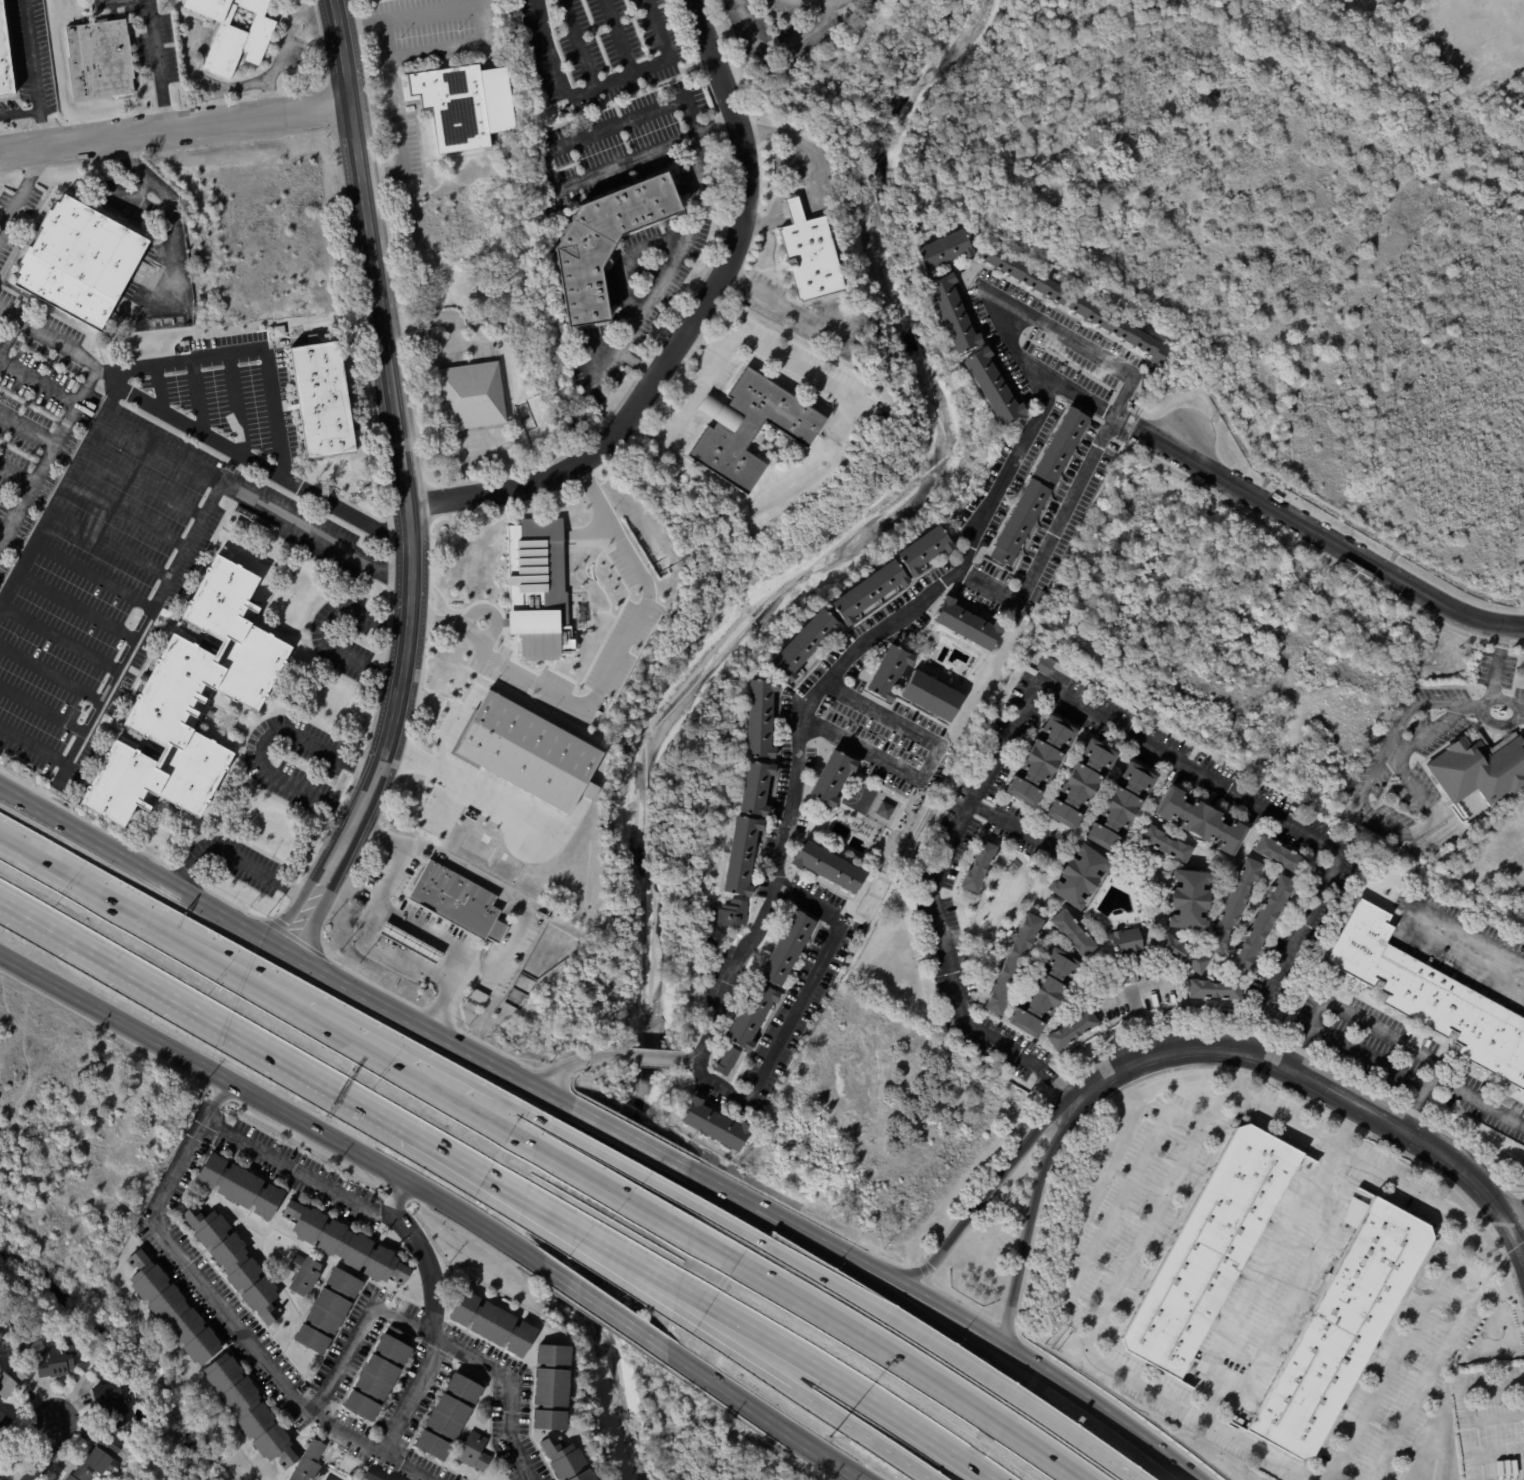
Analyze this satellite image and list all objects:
road: (820, 0)
building: (235, 34)
road: (619, 37)
road: (582, 44)
road: (442, 45)
road: (780, 51)
building: (5, 58)
road: (158, 59)
building: (100, 60)
road: (279, 62)
road: (34, 73)
road: (218, 85)
road: (601, 87)
building: (464, 104)
road: (175, 127)
road: (806, 147)
road: (543, 157)
road: (21, 185)
road: (795, 208)
road: (170, 210)
road: (766, 220)
building: (603, 243)
road: (678, 248)
building: (941, 250)
building: (809, 255)
building: (81, 261)
building: (1024, 274)
road: (780, 307)
building: (951, 313)
road: (445, 319)
road: (689, 327)
building: (1120, 329)
building: (297, 330)
building: (278, 331)
road: (9, 334)
road: (61, 341)
building: (185, 346)
road: (445, 346)
road: (761, 347)
road: (190, 356)
road: (37, 380)
road: (158, 386)
building: (991, 387)
building: (1142, 394)
road: (197, 395)
building: (471, 395)
road: (1081, 397)
building: (323, 398)
building: (1137, 402)
road: (238, 403)
road: (676, 419)
road: (1118, 419)
building: (749, 427)
road: (25, 429)
road: (199, 430)
building: (1060, 445)
road: (160, 447)
road: (501, 448)
road: (46, 450)
road: (15, 473)
road: (142, 480)
road: (406, 484)
road: (125, 512)
road: (980, 514)
building: (1018, 522)
road: (587, 526)
road: (1319, 537)
road: (107, 545)
building: (924, 550)
road: (176, 559)
road: (92, 575)
road: (990, 581)
building: (537, 587)
building: (869, 592)
road: (75, 605)
building: (1027, 617)
building: (966, 625)
road: (327, 629)
road: (58, 638)
building: (804, 644)
building: (1280, 654)
building: (1046, 665)
building: (888, 672)
road: (49, 673)
road: (1494, 674)
road: (599, 685)
road: (1065, 695)
building: (930, 697)
road: (1508, 701)
building: (188, 704)
road: (41, 707)
building: (758, 719)
road: (263, 742)
building: (1347, 749)
building: (528, 751)
building: (1283, 751)
building: (948, 760)
road: (924, 763)
building: (1039, 763)
building: (1481, 769)
building: (831, 778)
road: (469, 786)
building: (1080, 786)
building: (755, 789)
park: (859, 797)
building: (1121, 807)
building: (885, 811)
building: (1201, 821)
road: (1012, 825)
road: (1393, 825)
building: (1166, 846)
building: (1279, 856)
building: (740, 857)
road: (242, 862)
building: (827, 866)
building: (978, 868)
building: (1078, 878)
building: (1005, 897)
building: (458, 902)
building: (1189, 902)
road: (115, 903)
building: (1233, 908)
building: (734, 915)
building: (1260, 927)
road: (1464, 932)
road: (438, 934)
building: (1072, 935)
building: (408, 944)
building: (1128, 945)
road: (286, 947)
building: (787, 948)
building: (1521, 949)
road: (501, 956)
building: (1182, 956)
building: (1012, 965)
building: (914, 973)
road: (1132, 987)
building: (1214, 992)
building: (1043, 994)
building: (477, 995)
building: (1431, 997)
road: (444, 1005)
road: (201, 1013)
road: (793, 1013)
building: (750, 1016)
road: (1143, 1017)
road: (1252, 1027)
road: (379, 1032)
building: (1072, 1032)
road: (370, 1049)
road: (649, 1055)
road: (692, 1057)
road: (1391, 1059)
building: (726, 1061)
road: (578, 1062)
road: (1240, 1070)
road: (1056, 1079)
road: (1319, 1086)
road: (276, 1106)
building: (714, 1124)
road: (1346, 1125)
road: (640, 1134)
road: (445, 1151)
road: (1346, 1151)
road: (1327, 1166)
building: (239, 1187)
road: (1305, 1187)
road: (987, 1191)
road: (521, 1194)
road: (400, 1196)
road: (625, 1196)
road: (753, 1200)
road: (1033, 1213)
road: (1145, 1217)
road: (1519, 1222)
road: (1490, 1228)
road: (415, 1236)
building: (343, 1244)
building: (1211, 1246)
road: (631, 1256)
building: (233, 1262)
road: (626, 1265)
road: (811, 1268)
building: (301, 1274)
road: (1041, 1300)
road: (226, 1310)
building: (170, 1311)
building: (327, 1311)
road: (607, 1311)
building: (1, 1319)
building: (492, 1324)
building: (1340, 1328)
road: (1010, 1341)
road: (971, 1351)
building: (50, 1356)
road: (349, 1360)
road: (913, 1366)
road: (489, 1370)
building: (377, 1374)
building: (11, 1380)
road: (849, 1387)
building: (549, 1388)
road: (810, 1400)
building: (111, 1402)
road: (1177, 1403)
road: (1469, 1407)
building: (247, 1410)
road: (761, 1412)
building: (446, 1417)
building: (1236, 1420)
building: (3, 1423)
road: (1499, 1450)
road: (52, 1452)
building: (474, 1452)
building: (100, 1457)
building: (563, 1460)
building: (308, 1462)
road: (1111, 1463)
building: (79, 1475)
road: (857, 1476)
road: (861, 1476)
building: (368, 1477)

